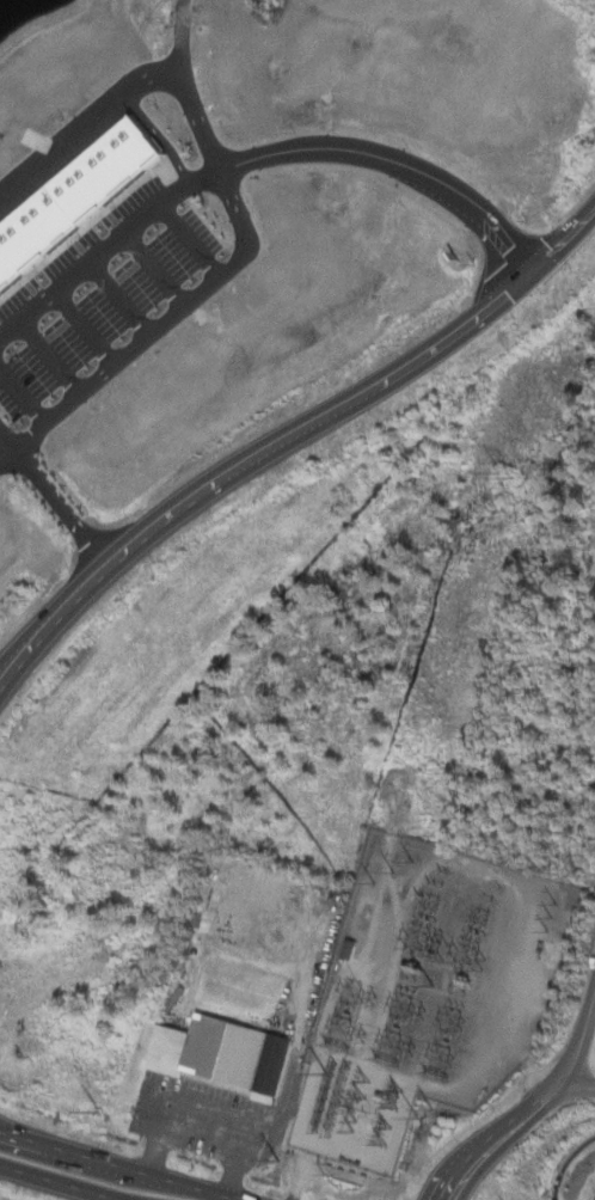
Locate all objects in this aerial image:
road: (227, 190)
building: (73, 194)
traffic signals: (523, 283)
road: (312, 423)
power tower: (507, 477)
road: (63, 503)
road: (17, 651)
road: (17, 663)
power tower: (392, 868)
power tower: (550, 913)
power substation: (425, 991)
building: (222, 1051)
road: (559, 1082)
road: (579, 1082)
road: (203, 1119)
road: (119, 1164)
road: (458, 1164)
road: (477, 1171)
road: (61, 1182)

